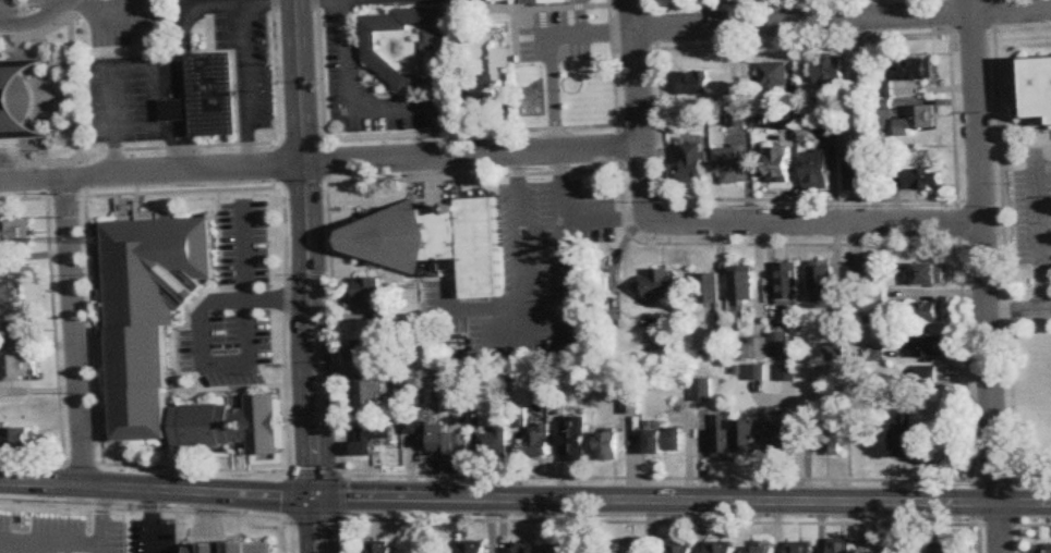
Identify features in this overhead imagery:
building: (474, 8)
road: (578, 16)
road: (842, 19)
road: (186, 30)
road: (584, 32)
building: (409, 48)
road: (245, 58)
building: (915, 69)
building: (829, 70)
building: (774, 76)
building: (491, 79)
road: (299, 82)
road: (110, 89)
building: (693, 89)
building: (1040, 90)
road: (352, 94)
building: (214, 97)
building: (17, 100)
road: (552, 106)
road: (638, 106)
road: (179, 111)
building: (784, 118)
building: (738, 119)
building: (917, 120)
road: (182, 146)
road: (472, 157)
building: (693, 162)
building: (732, 163)
building: (781, 168)
building: (819, 170)
building: (858, 171)
road: (150, 173)
building: (918, 179)
road: (816, 223)
building: (14, 233)
road: (1040, 236)
building: (436, 242)
building: (928, 274)
road: (987, 275)
road: (246, 282)
building: (663, 283)
building: (744, 283)
building: (788, 283)
building: (824, 284)
building: (855, 284)
building: (710, 287)
building: (10, 293)
building: (371, 294)
road: (1019, 309)
road: (206, 312)
building: (930, 312)
building: (148, 314)
road: (253, 327)
road: (307, 329)
building: (14, 332)
road: (75, 332)
road: (551, 337)
building: (781, 345)
building: (931, 347)
building: (364, 351)
building: (836, 353)
road: (231, 362)
building: (17, 367)
building: (371, 393)
building: (230, 426)
building: (835, 431)
building: (723, 437)
building: (906, 437)
building: (781, 438)
building: (371, 439)
building: (16, 440)
building: (446, 440)
building: (542, 440)
building: (576, 440)
building: (665, 441)
building: (494, 442)
building: (609, 446)
road: (156, 491)
traffic signals: (314, 496)
road: (681, 500)
road: (102, 520)
road: (154, 521)
road: (315, 525)
building: (845, 545)
building: (474, 546)
building: (804, 546)
building: (227, 548)
building: (382, 548)
building: (518, 548)
building: (681, 548)
building: (722, 548)
building: (633, 549)
building: (765, 549)
building: (897, 549)
building: (561, 550)
building: (943, 550)
building: (1044, 550)

